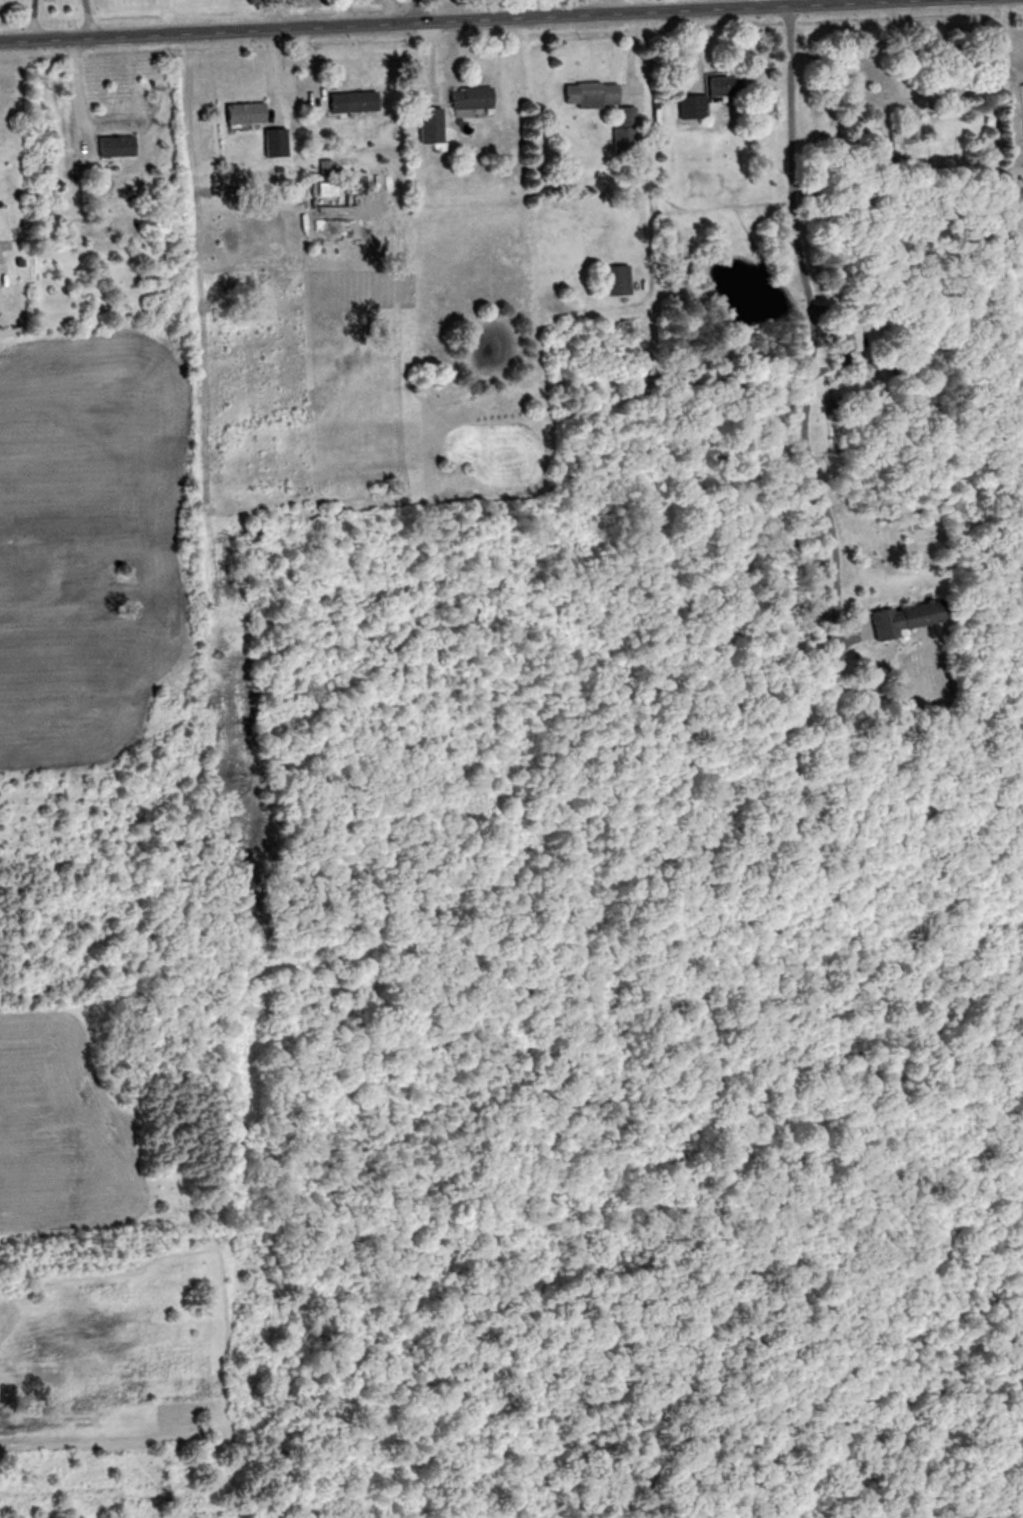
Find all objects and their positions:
road: (748, 3)
road: (763, 3)
road: (588, 7)
road: (517, 8)
road: (419, 11)
road: (88, 18)
road: (34, 20)
road: (448, 20)
road: (1001, 33)
road: (77, 94)
building: (590, 94)
building: (708, 95)
building: (469, 97)
building: (350, 102)
building: (242, 112)
building: (428, 124)
building: (621, 135)
building: (272, 142)
building: (896, 145)
building: (113, 146)
building: (618, 280)
road: (809, 301)
building: (850, 337)
building: (900, 618)

